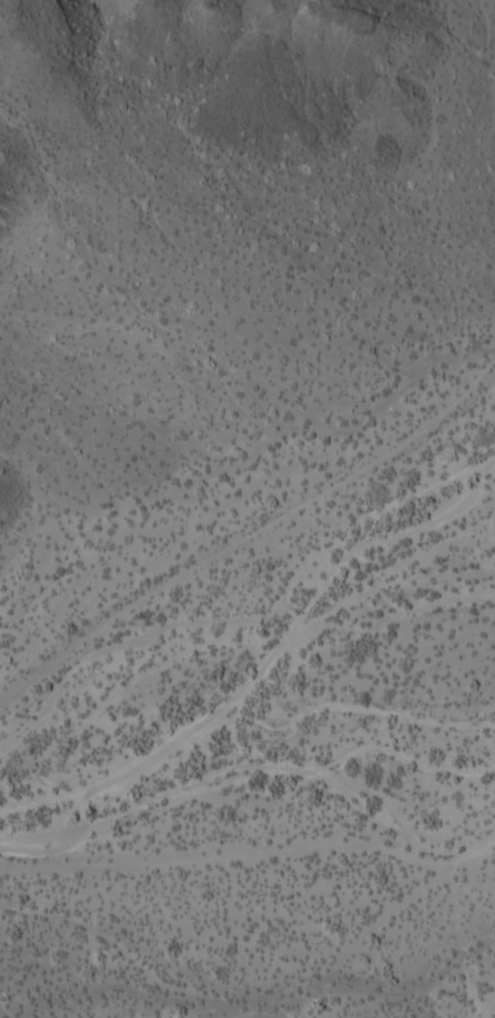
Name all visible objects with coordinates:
road: (247, 871)
road: (15, 998)

